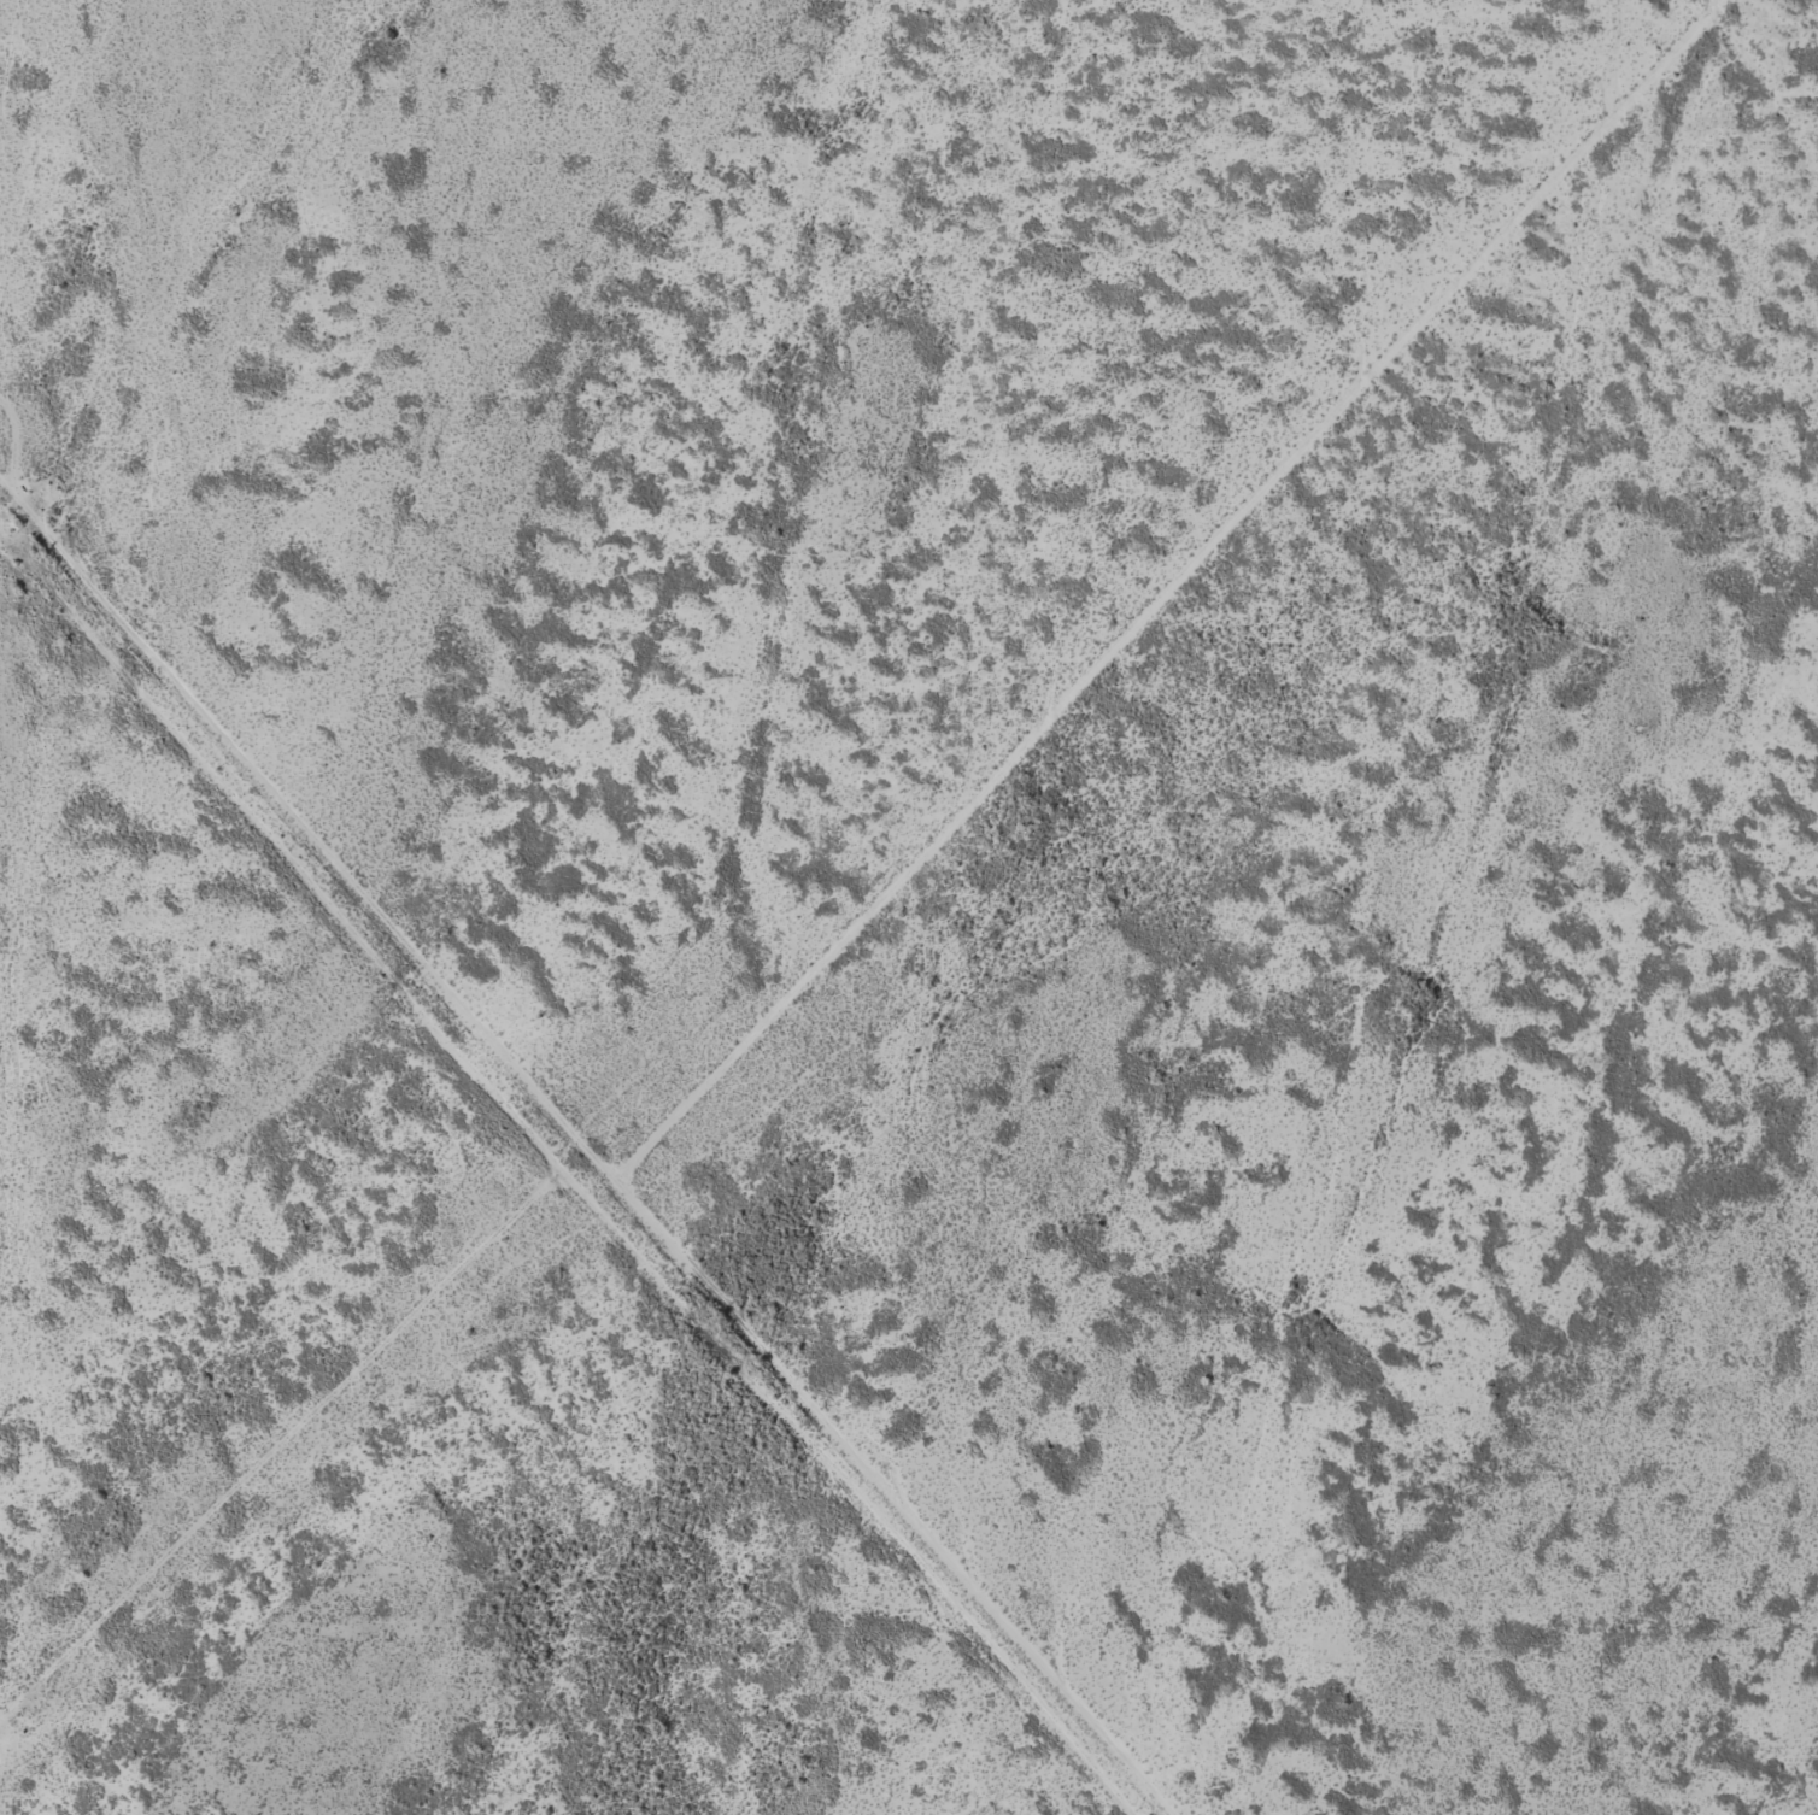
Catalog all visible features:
road: (1525, 944)
road: (563, 1128)

